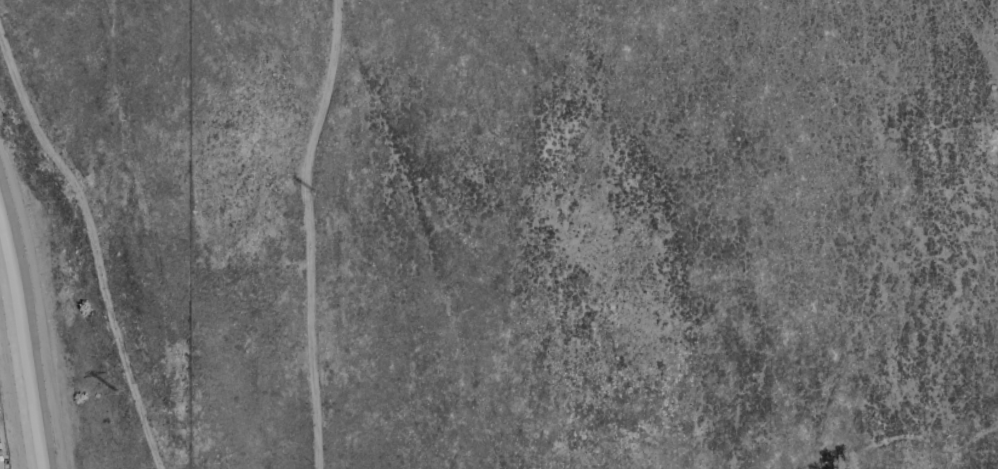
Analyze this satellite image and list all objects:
wastewater plant: (3, 448)

